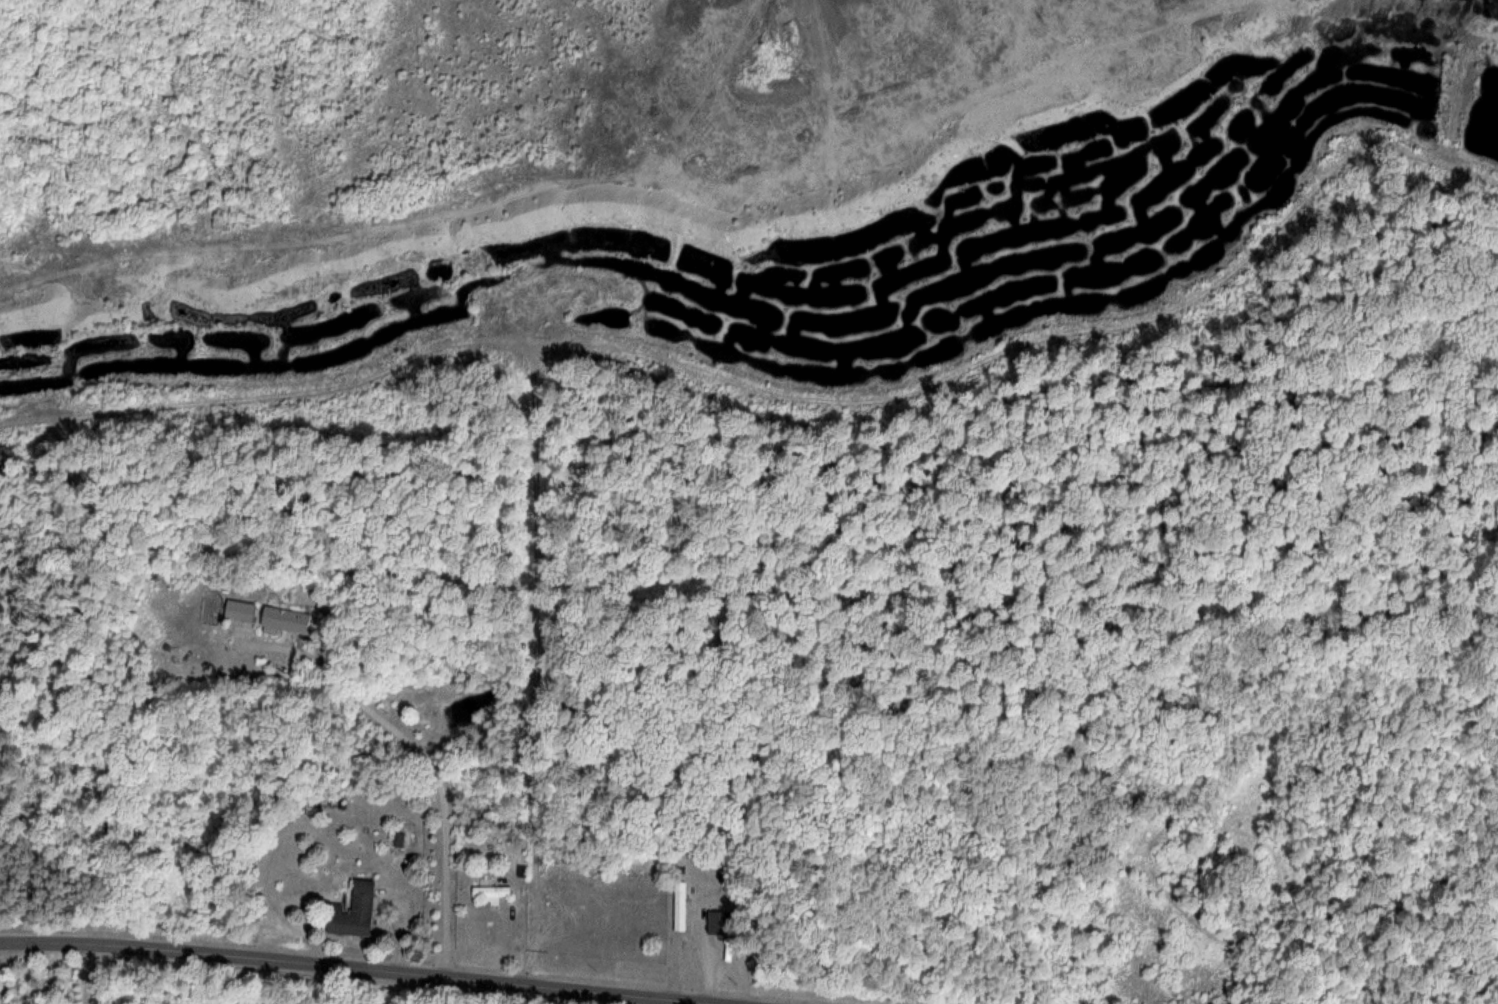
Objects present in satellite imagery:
building: (239, 611)
building: (283, 621)
road: (429, 761)
building: (487, 890)
building: (678, 906)
building: (351, 911)
road: (360, 968)
road: (85, 973)

